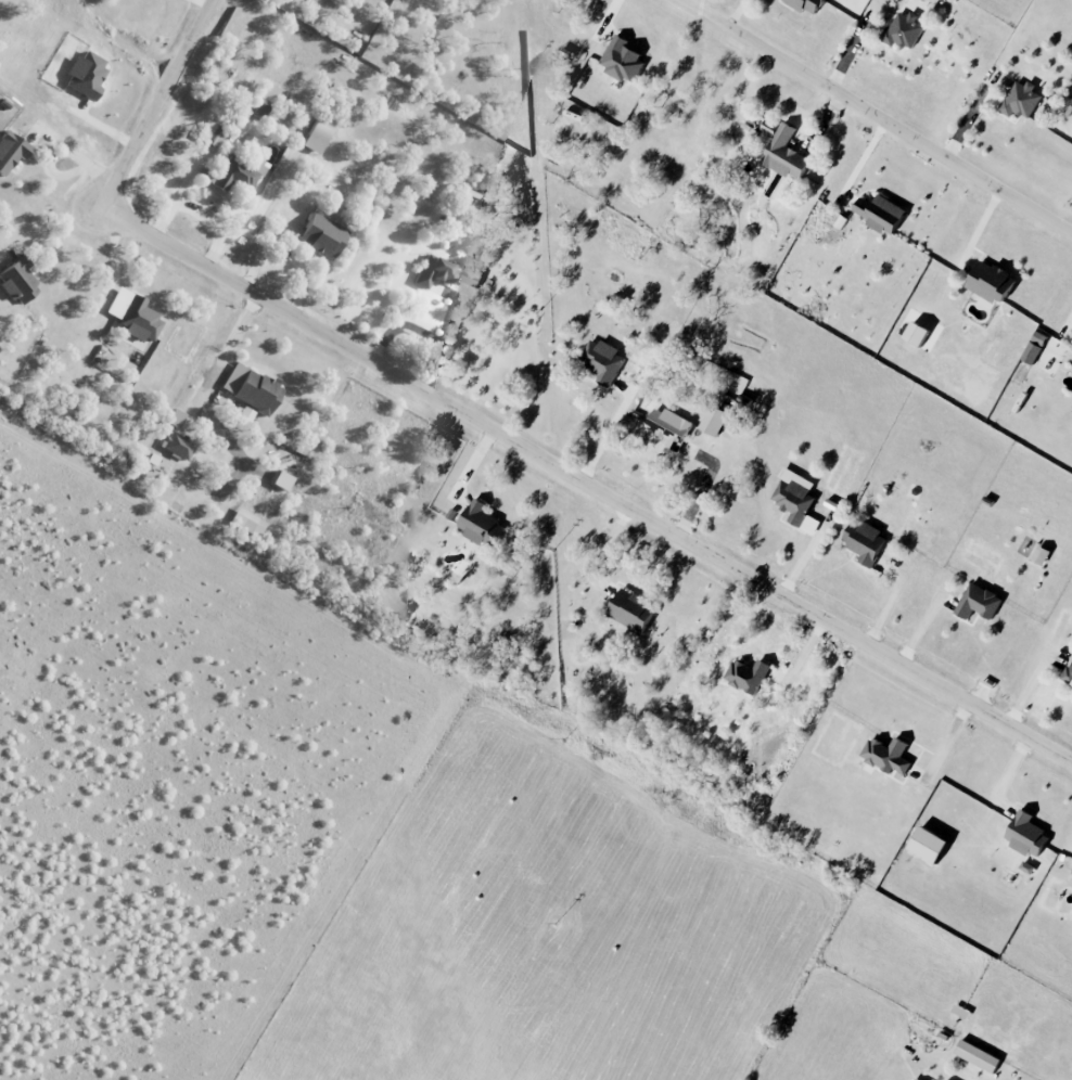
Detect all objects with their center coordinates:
building: (805, 5)
building: (903, 29)
building: (622, 61)
power tower: (532, 67)
building: (85, 73)
building: (265, 98)
building: (1020, 100)
road: (157, 102)
road: (880, 115)
building: (768, 127)
building: (213, 134)
building: (316, 134)
building: (753, 134)
building: (10, 151)
road: (74, 152)
building: (784, 154)
road: (53, 173)
building: (879, 213)
road: (54, 222)
building: (320, 234)
building: (444, 272)
building: (17, 279)
building: (990, 282)
power tower: (545, 310)
building: (133, 316)
road: (417, 334)
building: (916, 334)
building: (1034, 348)
building: (1071, 353)
building: (602, 361)
road: (204, 383)
building: (250, 387)
building: (176, 417)
building: (714, 421)
building: (669, 427)
road: (605, 432)
building: (178, 445)
building: (279, 480)
road: (586, 483)
building: (794, 499)
building: (246, 522)
building: (480, 523)
building: (864, 541)
power tower: (557, 550)
building: (1039, 555)
building: (978, 603)
building: (630, 609)
building: (1068, 674)
building: (746, 676)
power tower: (569, 738)
building: (886, 755)
building: (1024, 834)
building: (926, 845)
building: (1026, 867)
building: (1071, 876)
power tower: (560, 923)
building: (977, 1056)

